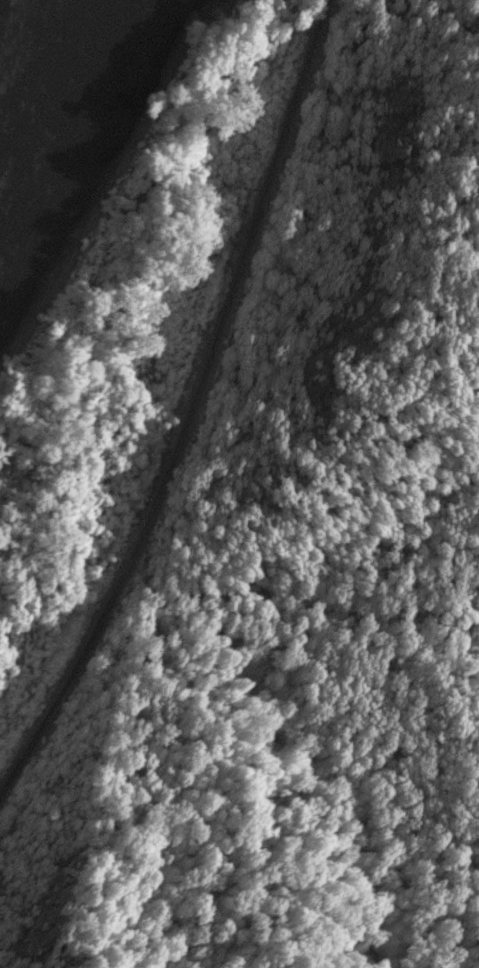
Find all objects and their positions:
railway: (192, 410)

